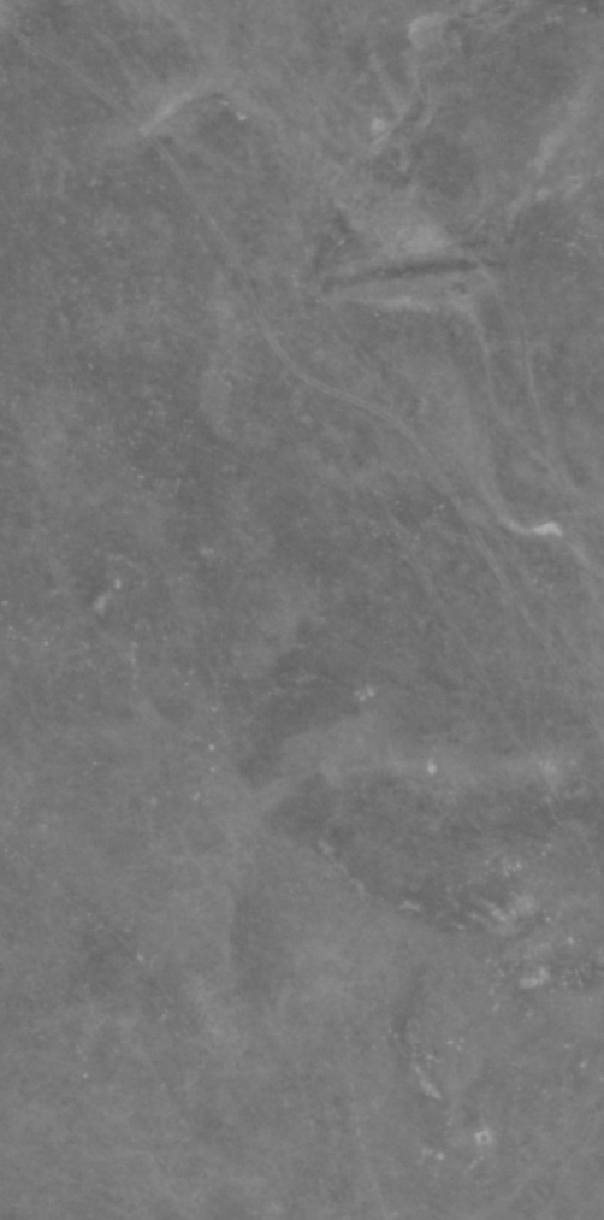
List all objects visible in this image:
dam: (409, 279)

